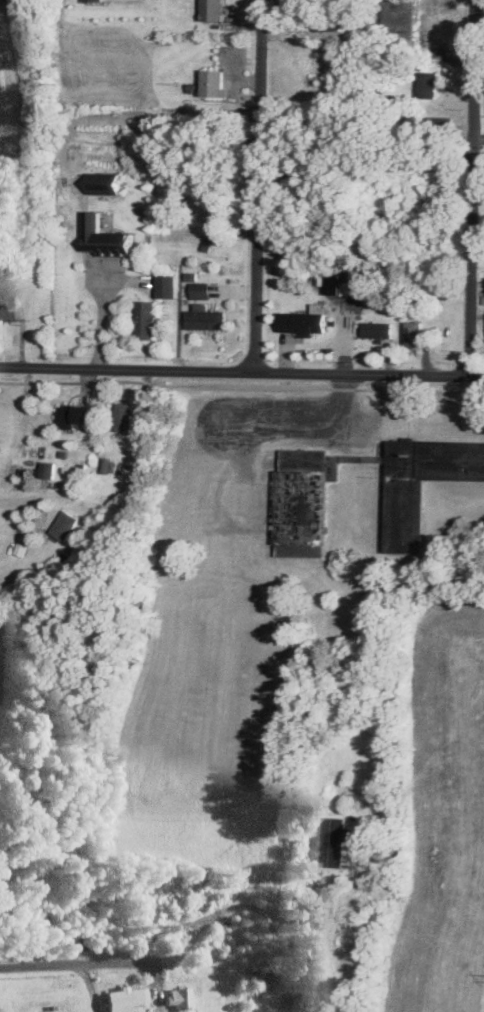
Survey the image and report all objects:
building: (92, 0)
building: (213, 10)
building: (214, 82)
building: (427, 84)
building: (103, 182)
road: (256, 187)
road: (473, 189)
building: (103, 235)
building: (165, 283)
building: (200, 290)
building: (483, 297)
building: (9, 306)
road: (101, 316)
building: (206, 317)
building: (144, 319)
building: (304, 321)
building: (378, 331)
building: (413, 333)
road: (241, 374)
building: (74, 415)
building: (123, 416)
building: (47, 469)
road: (13, 498)
building: (301, 515)
building: (64, 525)
building: (336, 840)
road: (210, 917)
road: (40, 964)
building: (263, 978)
road: (92, 986)
building: (125, 998)
building: (180, 998)

